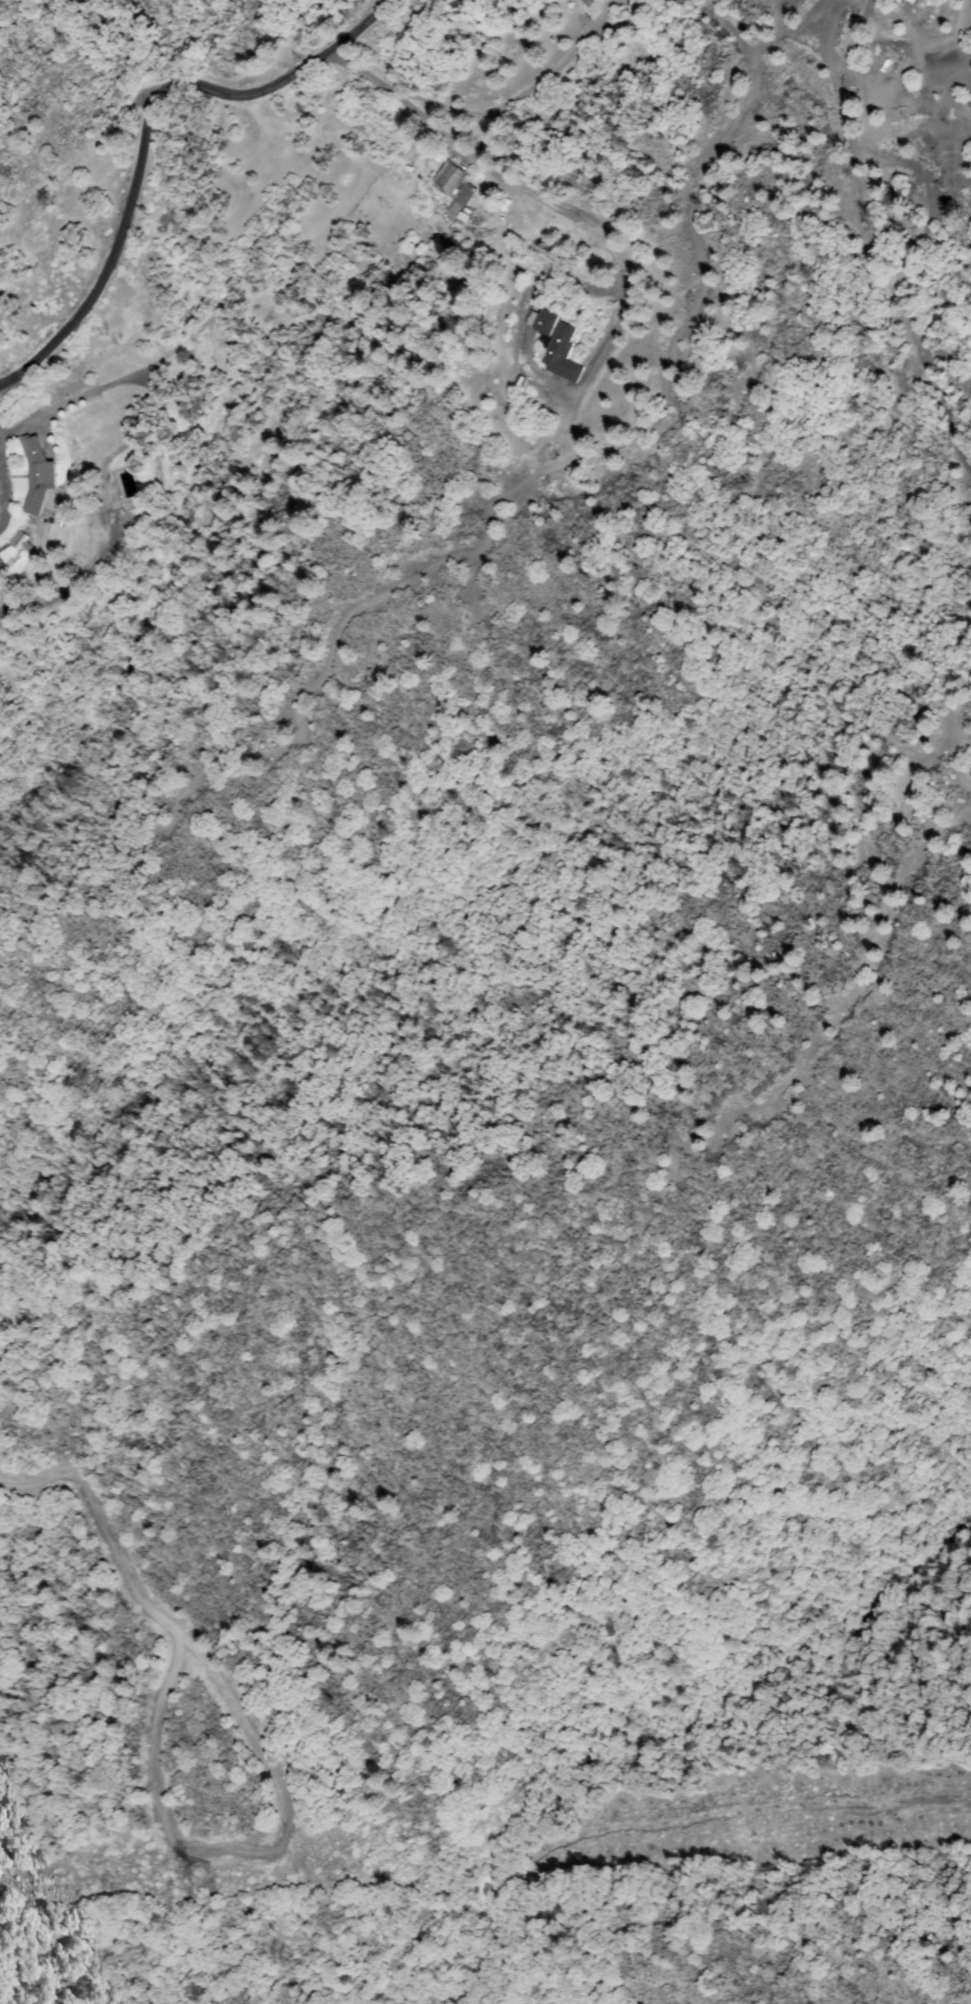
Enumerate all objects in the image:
building: (914, 10)
road: (144, 129)
building: (449, 189)
building: (560, 346)
building: (40, 475)
building: (21, 540)
building: (0, 566)
road: (101, 1520)
road: (173, 1831)
building: (198, 1873)
power tower: (199, 1873)

